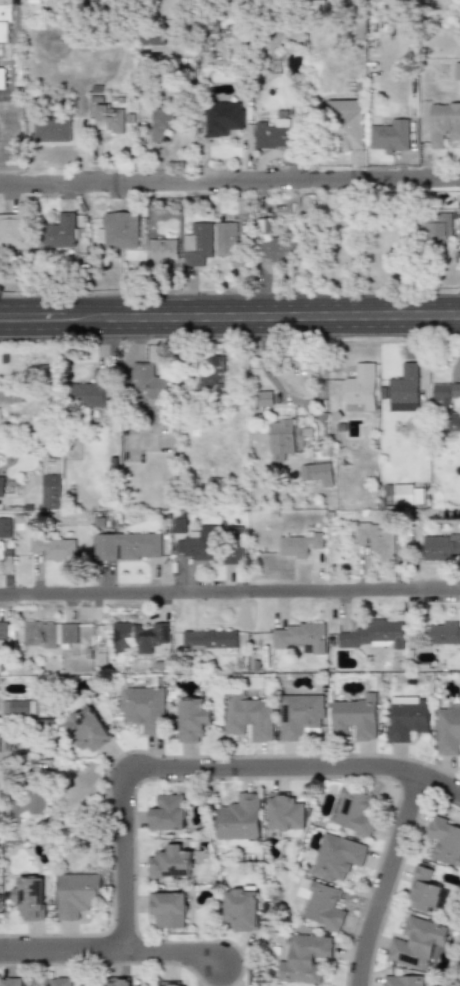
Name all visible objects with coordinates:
building: (5, 22)
building: (150, 39)
building: (457, 71)
building: (1, 78)
building: (106, 118)
building: (222, 118)
building: (162, 122)
building: (443, 122)
building: (346, 124)
building: (51, 130)
building: (272, 134)
building: (390, 137)
road: (230, 181)
building: (435, 227)
building: (119, 229)
building: (60, 230)
building: (13, 231)
building: (459, 233)
building: (228, 241)
building: (197, 244)
building: (275, 250)
building: (160, 252)
road: (229, 304)
road: (230, 327)
building: (214, 375)
building: (150, 384)
building: (361, 386)
building: (403, 388)
building: (91, 392)
building: (11, 396)
building: (264, 398)
building: (446, 407)
building: (281, 436)
building: (316, 474)
building: (216, 484)
building: (2, 485)
building: (51, 491)
building: (408, 494)
building: (178, 522)
building: (5, 527)
building: (377, 538)
building: (299, 543)
building: (260, 544)
building: (233, 545)
building: (127, 546)
building: (441, 546)
building: (53, 547)
building: (200, 548)
road: (230, 605)
building: (4, 628)
building: (50, 633)
building: (444, 634)
building: (131, 635)
building: (304, 635)
building: (373, 635)
building: (209, 639)
building: (21, 707)
building: (142, 707)
building: (300, 715)
building: (409, 716)
building: (248, 717)
building: (357, 717)
building: (192, 720)
building: (87, 728)
building: (448, 730)
building: (1, 741)
road: (205, 764)
building: (30, 801)
building: (353, 812)
building: (166, 813)
building: (286, 814)
building: (240, 820)
building: (445, 840)
building: (337, 857)
building: (169, 863)
road: (385, 878)
building: (425, 891)
building: (77, 894)
building: (30, 897)
building: (0, 906)
building: (323, 906)
building: (241, 908)
building: (169, 909)
building: (417, 942)
road: (61, 946)
road: (172, 948)
building: (306, 958)
building: (401, 979)
building: (10, 981)
building: (60, 981)
building: (120, 981)
building: (172, 984)
building: (87, 985)

